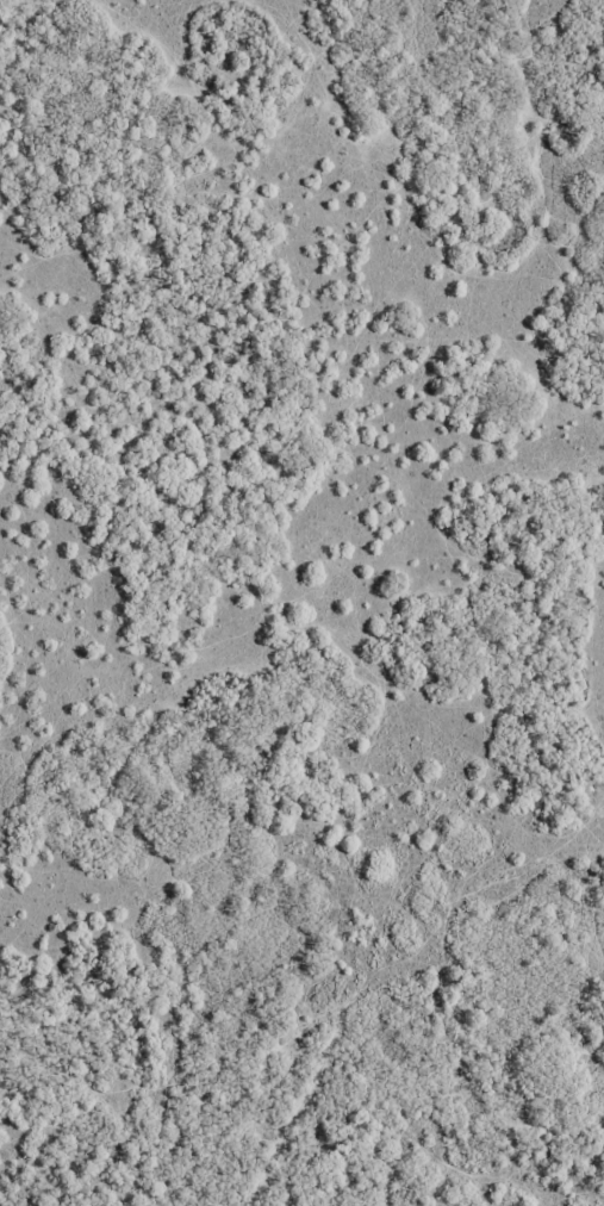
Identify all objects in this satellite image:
road: (125, 857)

